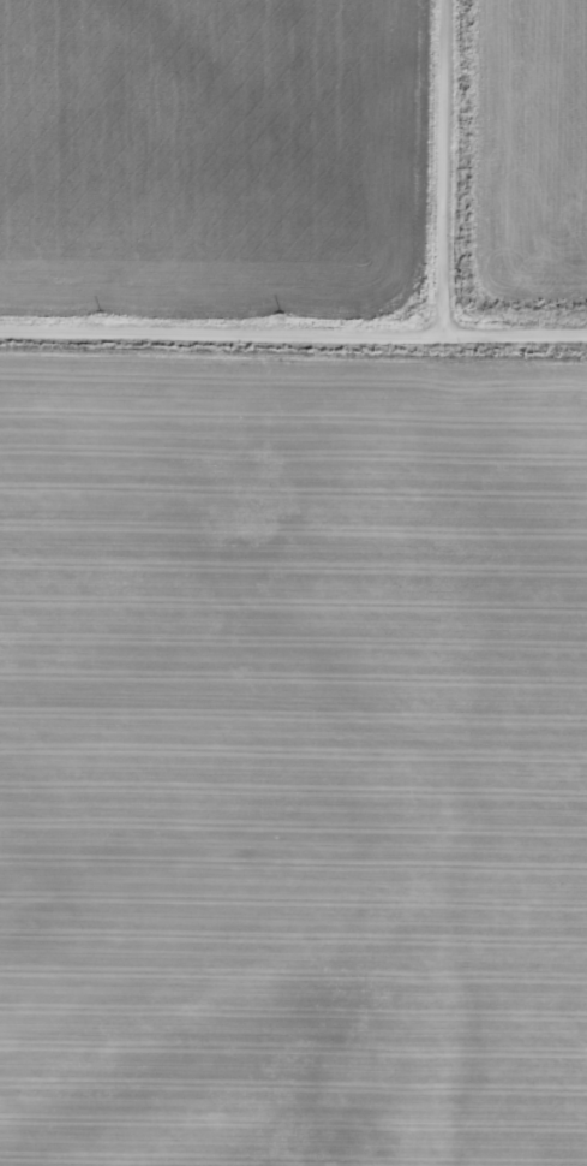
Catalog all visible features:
road: (449, 166)
road: (293, 332)

